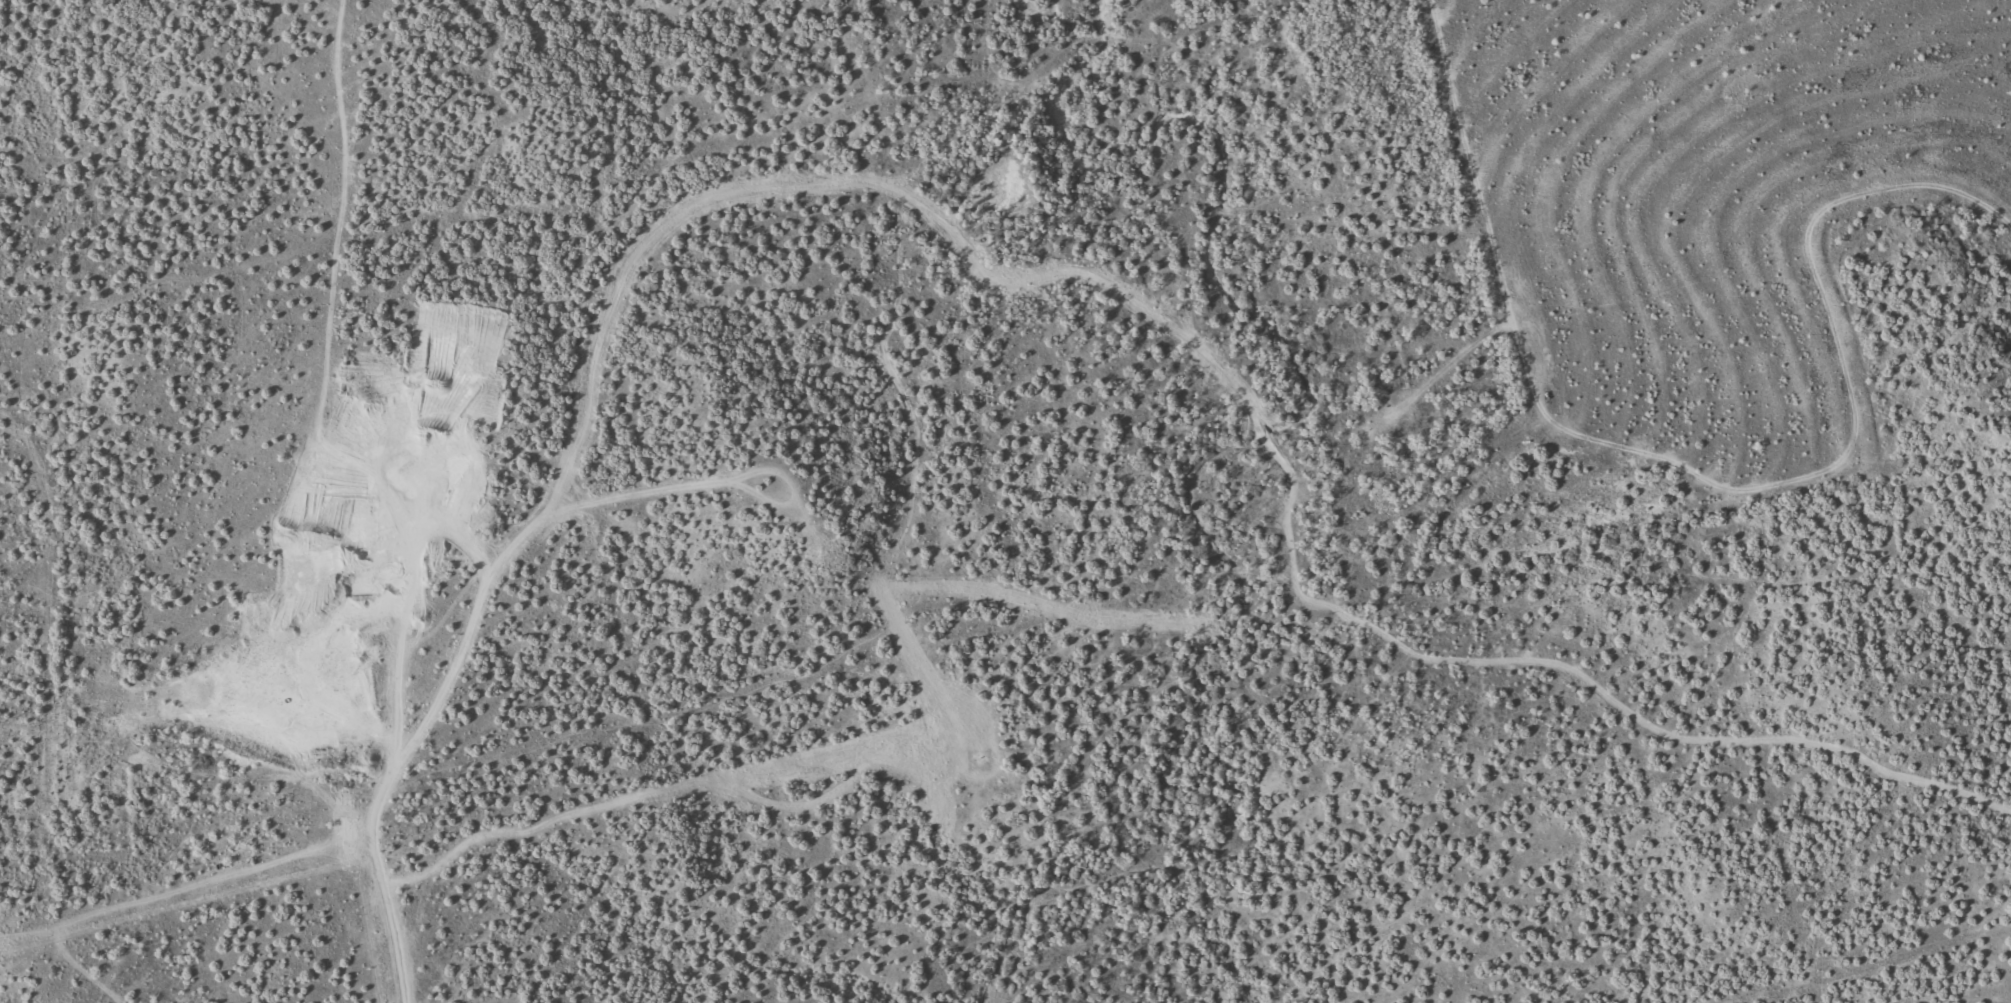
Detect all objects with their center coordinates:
road: (7, 862)

